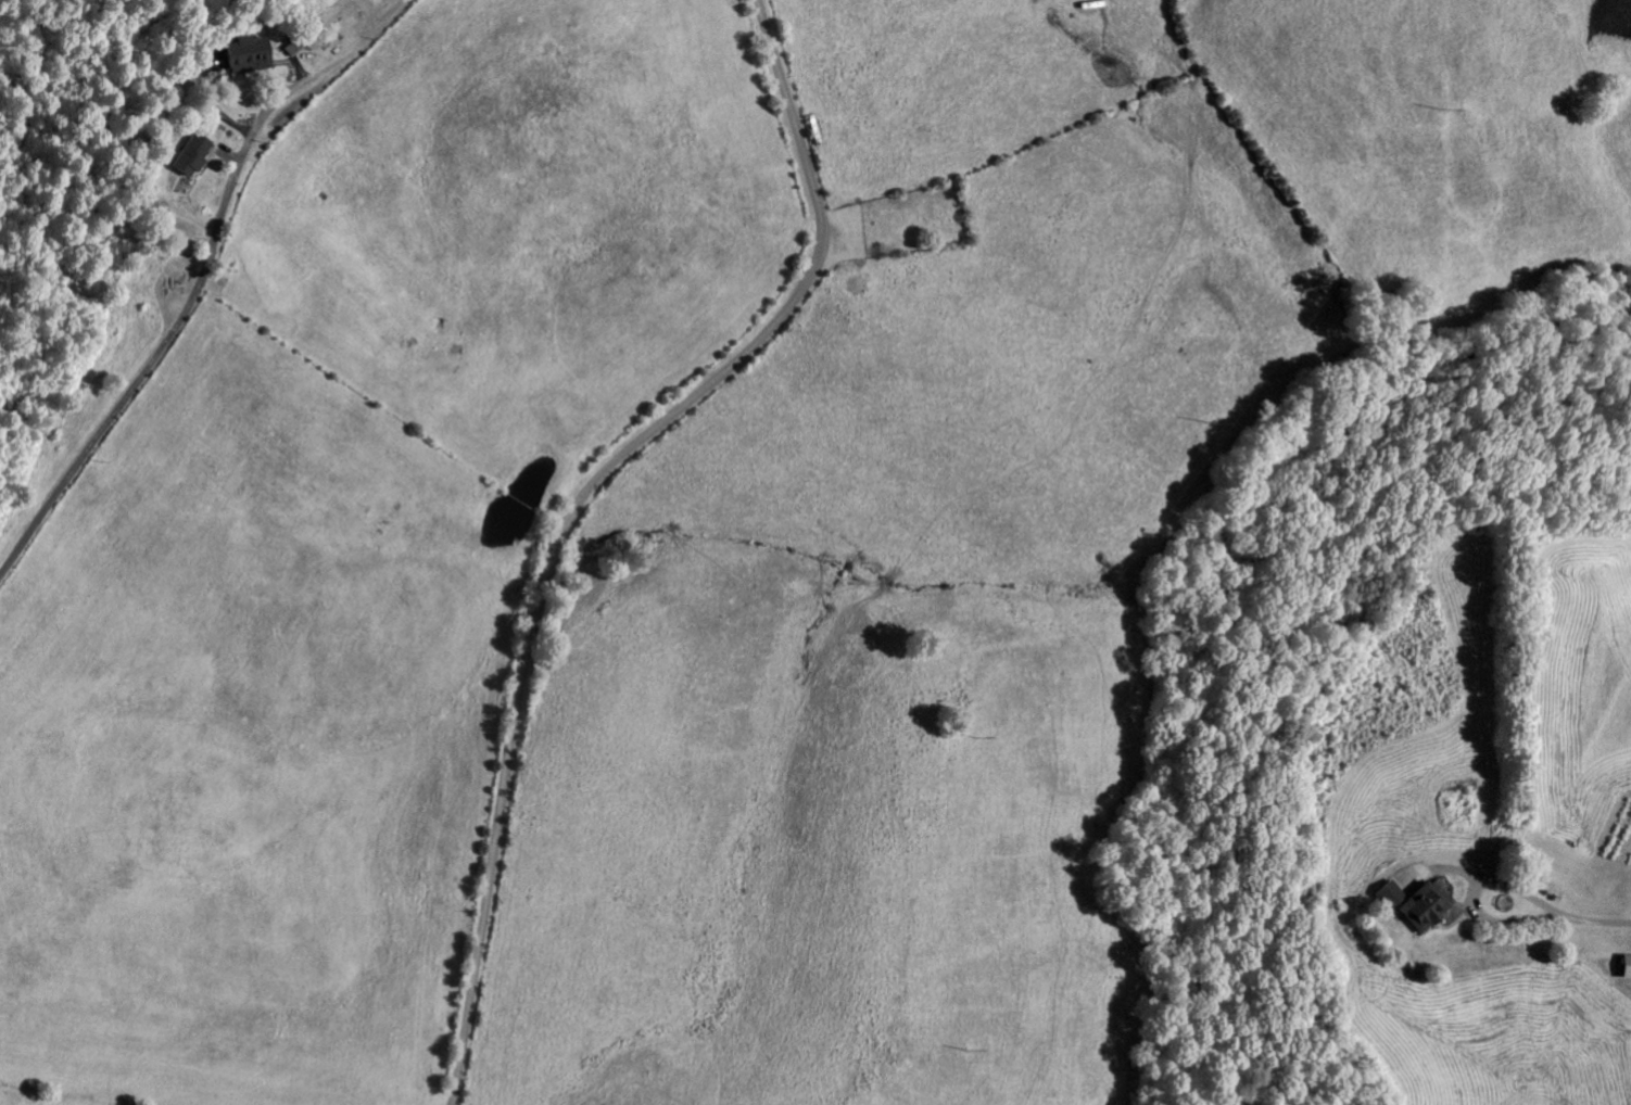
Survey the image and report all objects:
building: (238, 59)
building: (182, 158)
building: (173, 232)
road: (172, 369)
road: (603, 506)
building: (1409, 905)
building: (1623, 969)

